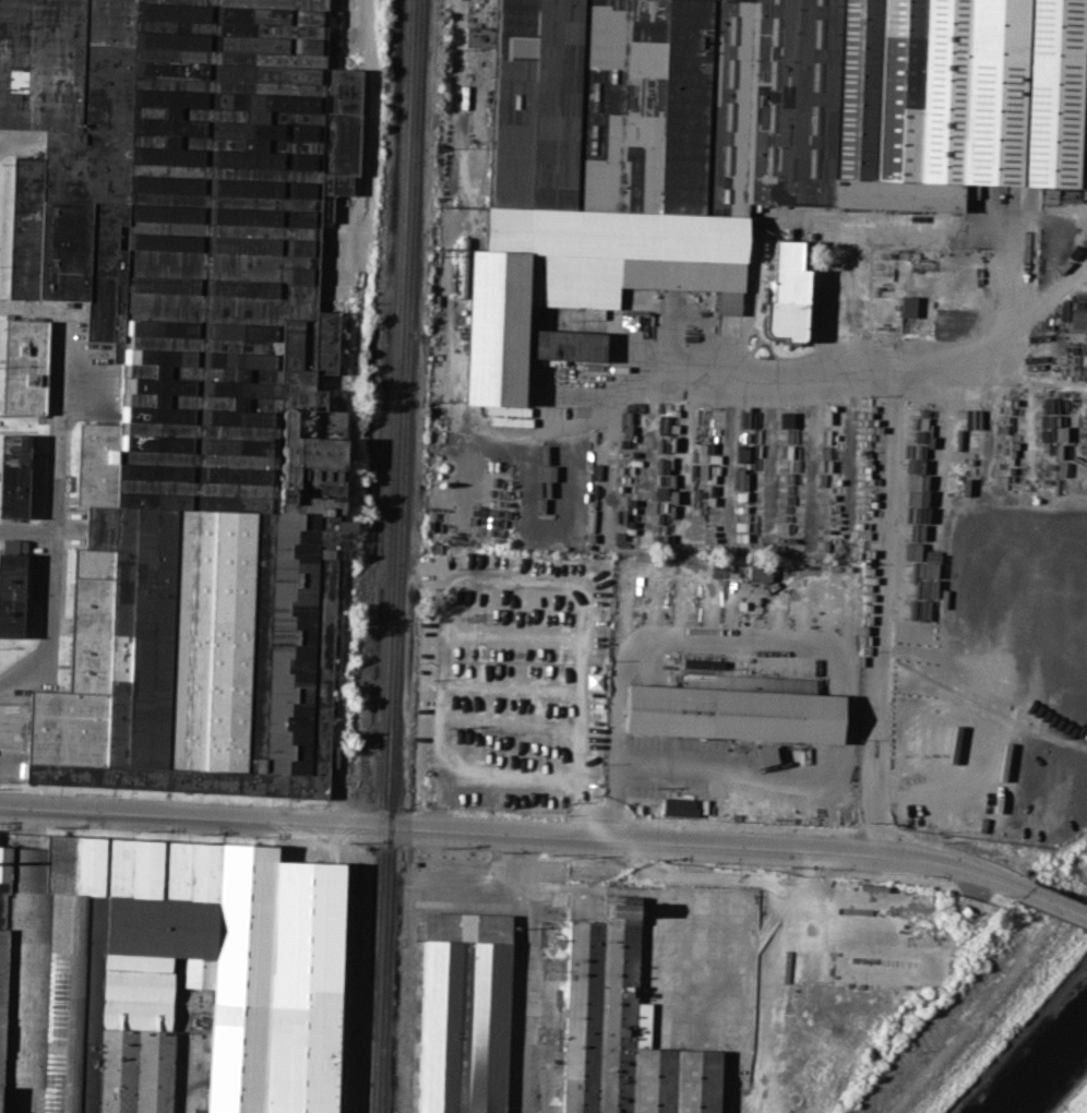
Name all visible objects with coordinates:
building: (734, 139)
road: (895, 217)
building: (785, 294)
building: (569, 344)
building: (25, 366)
building: (188, 367)
road: (578, 404)
building: (14, 474)
road: (56, 484)
railway: (389, 556)
railway: (399, 556)
building: (758, 571)
building: (12, 587)
road: (483, 614)
road: (885, 614)
road: (808, 645)
building: (736, 703)
building: (765, 754)
building: (679, 806)
road: (517, 837)
road: (1058, 906)
road: (810, 924)
building: (168, 971)
road: (525, 974)
building: (465, 1008)
building: (623, 1029)
river: (1049, 1072)
road: (23, 1101)

